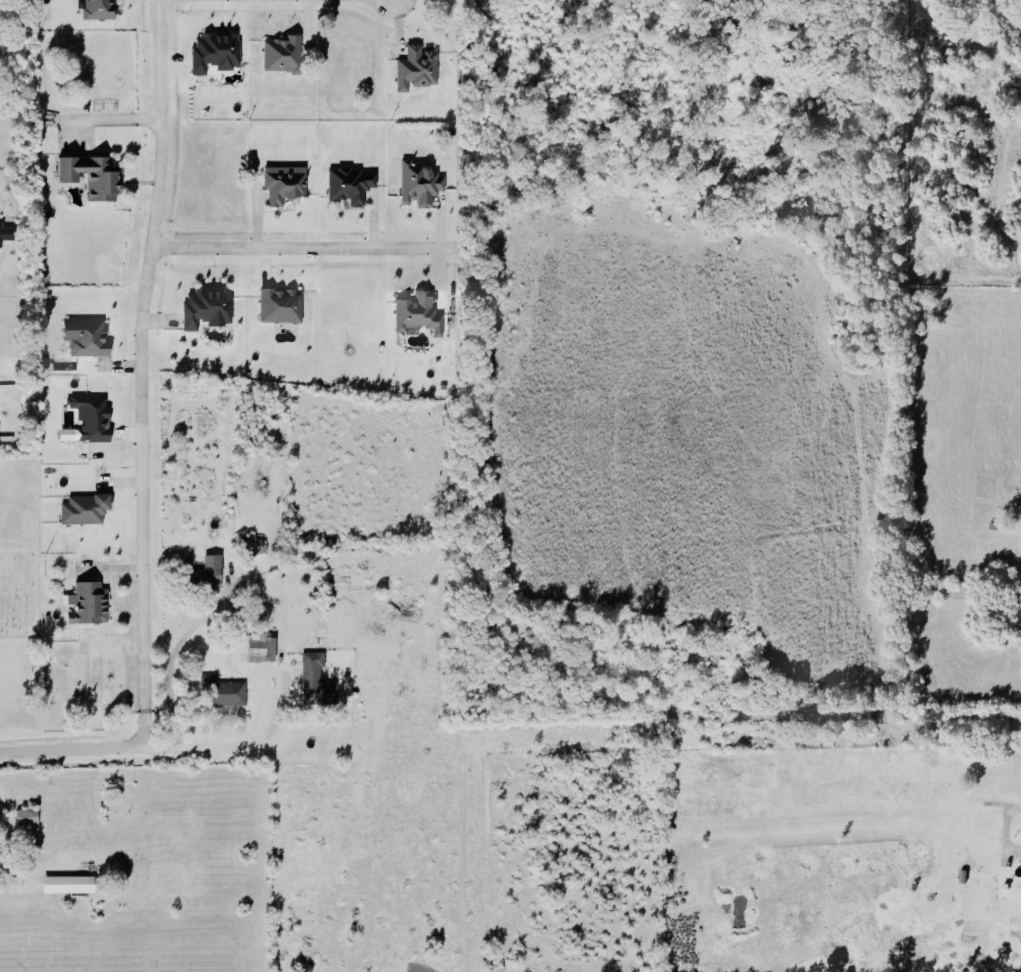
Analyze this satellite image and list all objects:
building: (96, 9)
building: (212, 52)
building: (279, 54)
building: (414, 68)
road: (100, 118)
building: (91, 176)
building: (282, 184)
building: (418, 184)
building: (347, 185)
road: (304, 249)
building: (278, 306)
building: (205, 309)
building: (415, 314)
building: (83, 337)
road: (140, 372)
building: (89, 418)
building: (82, 510)
building: (259, 546)
park: (18, 548)
building: (204, 575)
building: (1019, 595)
building: (85, 604)
building: (259, 648)
road: (173, 654)
building: (316, 679)
building: (225, 693)
road: (222, 715)
road: (264, 741)
road: (69, 750)
road: (1011, 812)
building: (24, 816)
building: (0, 856)
building: (919, 858)
building: (67, 882)
road: (14, 896)

